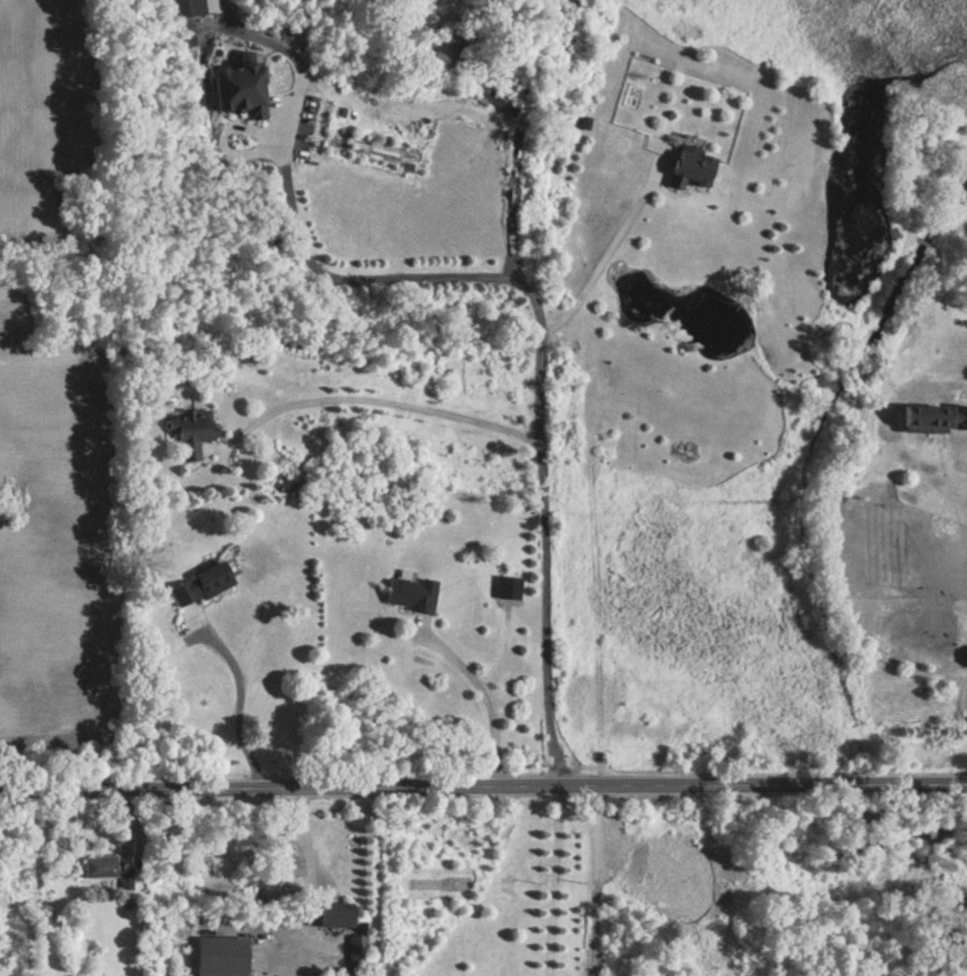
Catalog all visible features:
building: (183, 9)
building: (234, 83)
building: (500, 102)
building: (686, 168)
road: (606, 256)
road: (540, 338)
road: (399, 404)
building: (930, 416)
building: (191, 432)
building: (201, 582)
building: (506, 587)
building: (408, 593)
building: (965, 658)
road: (487, 699)
road: (237, 711)
road: (483, 788)
building: (99, 866)
road: (312, 881)
road: (553, 881)
road: (594, 881)
building: (328, 917)
building: (356, 946)

